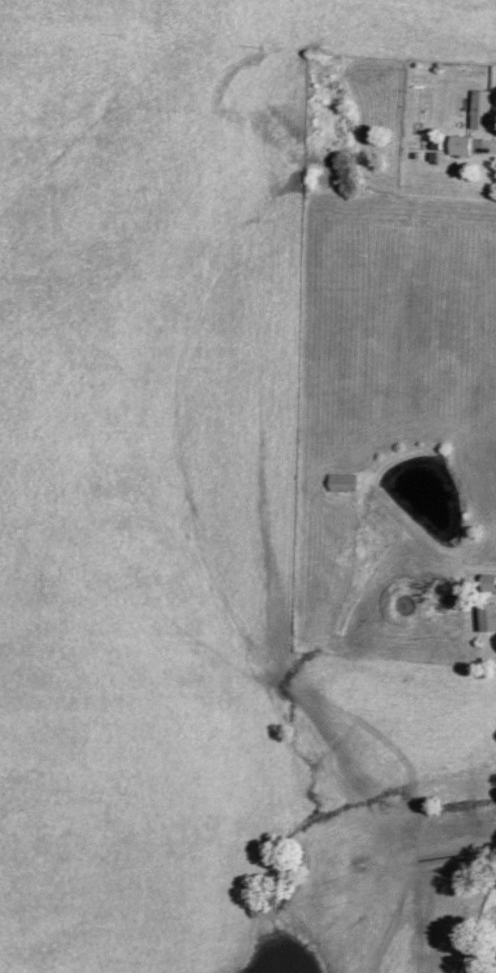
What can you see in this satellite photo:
building: (483, 110)
building: (462, 146)
building: (344, 484)
building: (489, 584)
building: (494, 613)

